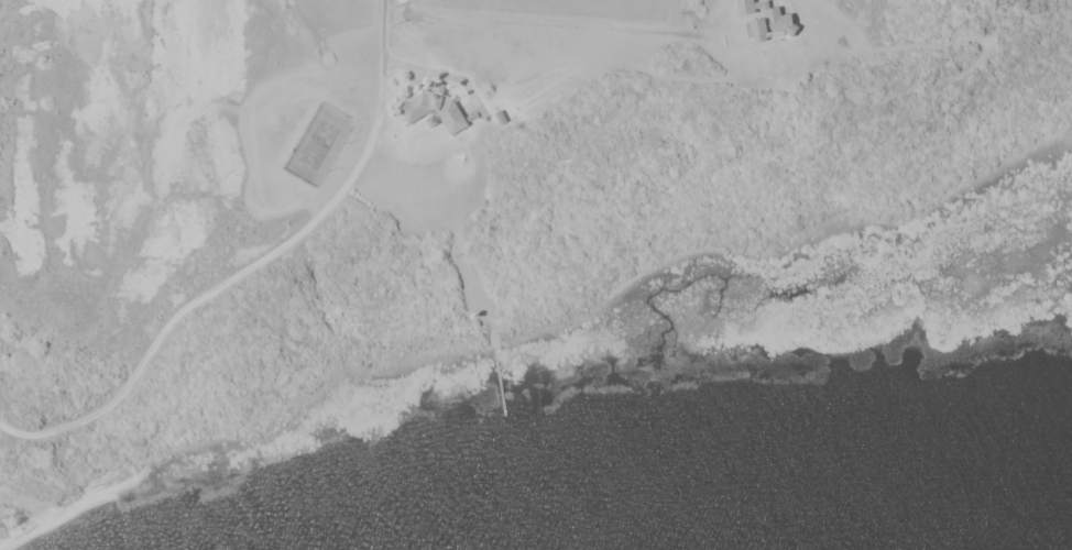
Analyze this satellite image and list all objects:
building: (433, 109)
road: (256, 269)

